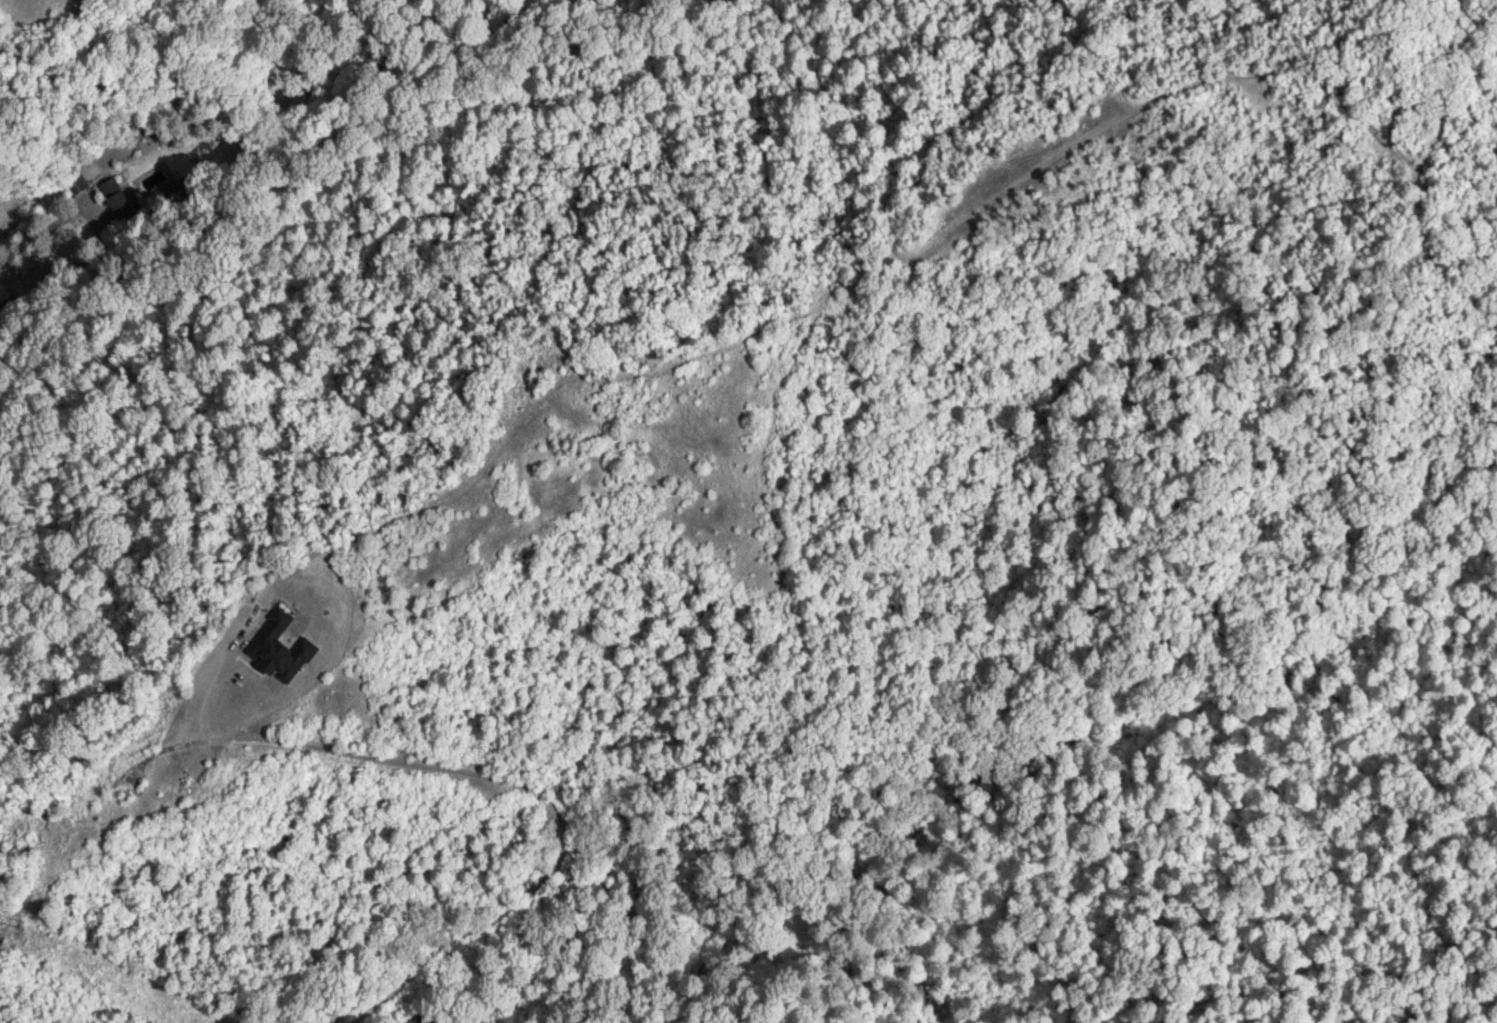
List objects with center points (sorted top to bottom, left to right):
building: (273, 647)
building: (423, 1022)

